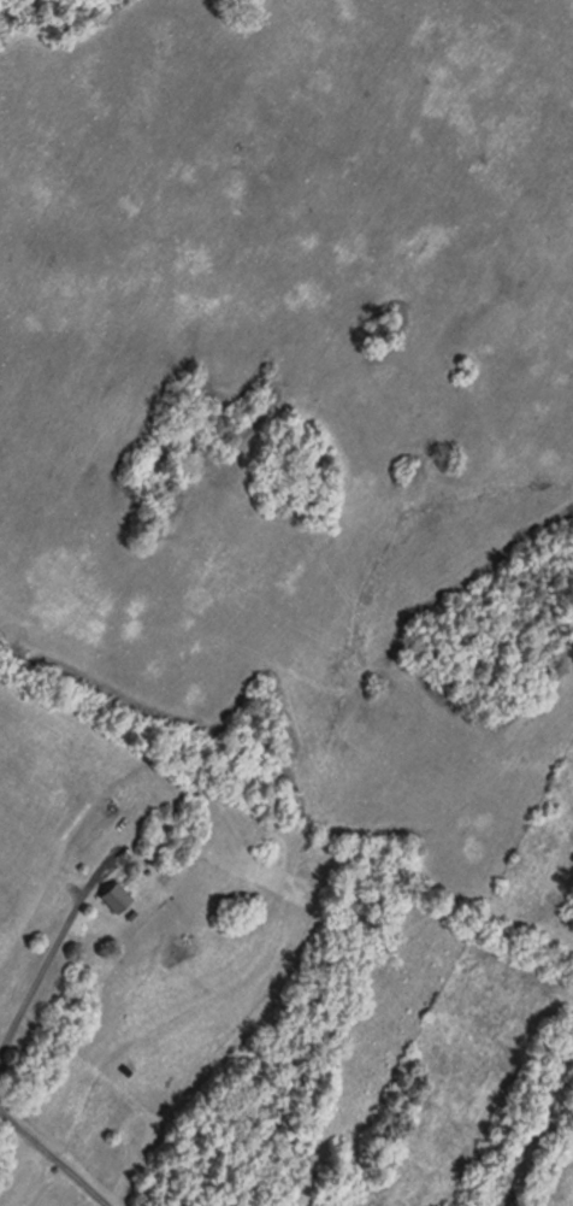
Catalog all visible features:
road: (51, 965)
road: (415, 1078)
road: (55, 1158)

